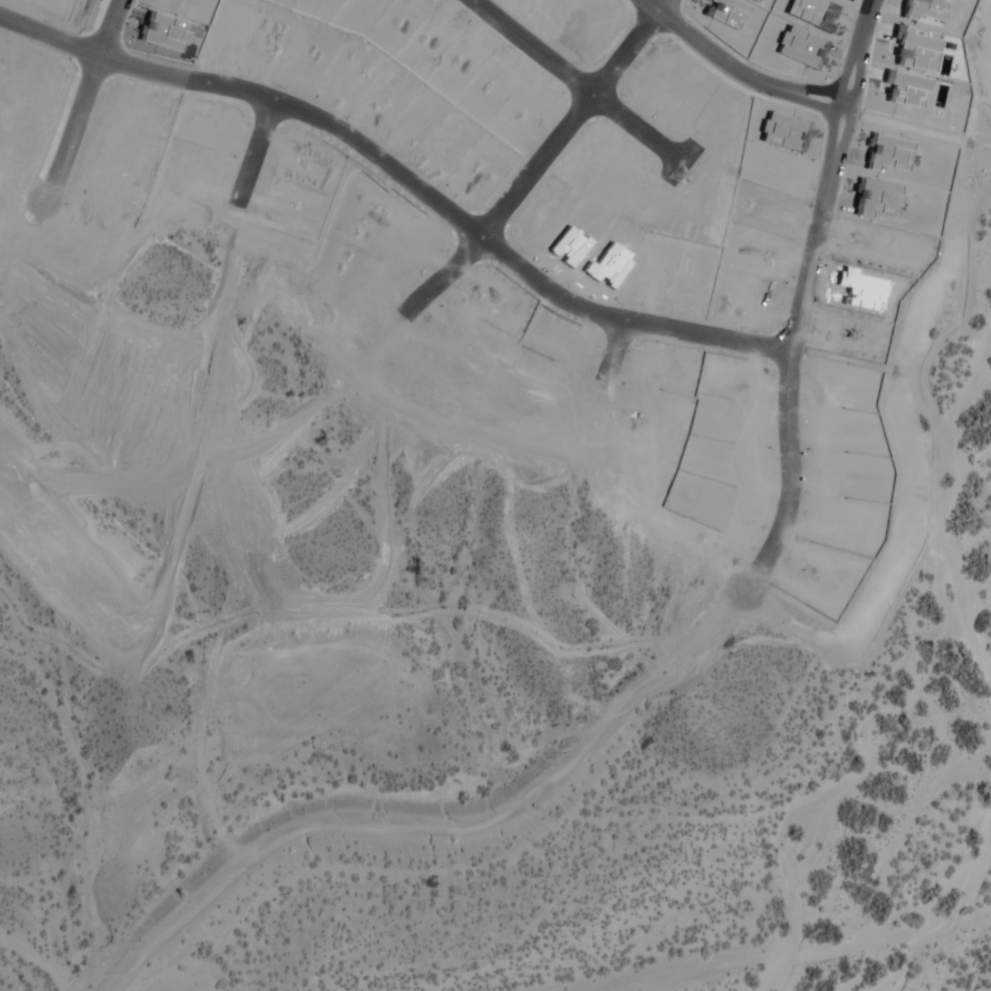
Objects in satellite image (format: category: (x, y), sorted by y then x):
road: (658, 6)
road: (738, 72)
road: (577, 78)
road: (79, 100)
road: (853, 110)
road: (254, 150)
road: (534, 164)
road: (400, 176)
road: (786, 407)

